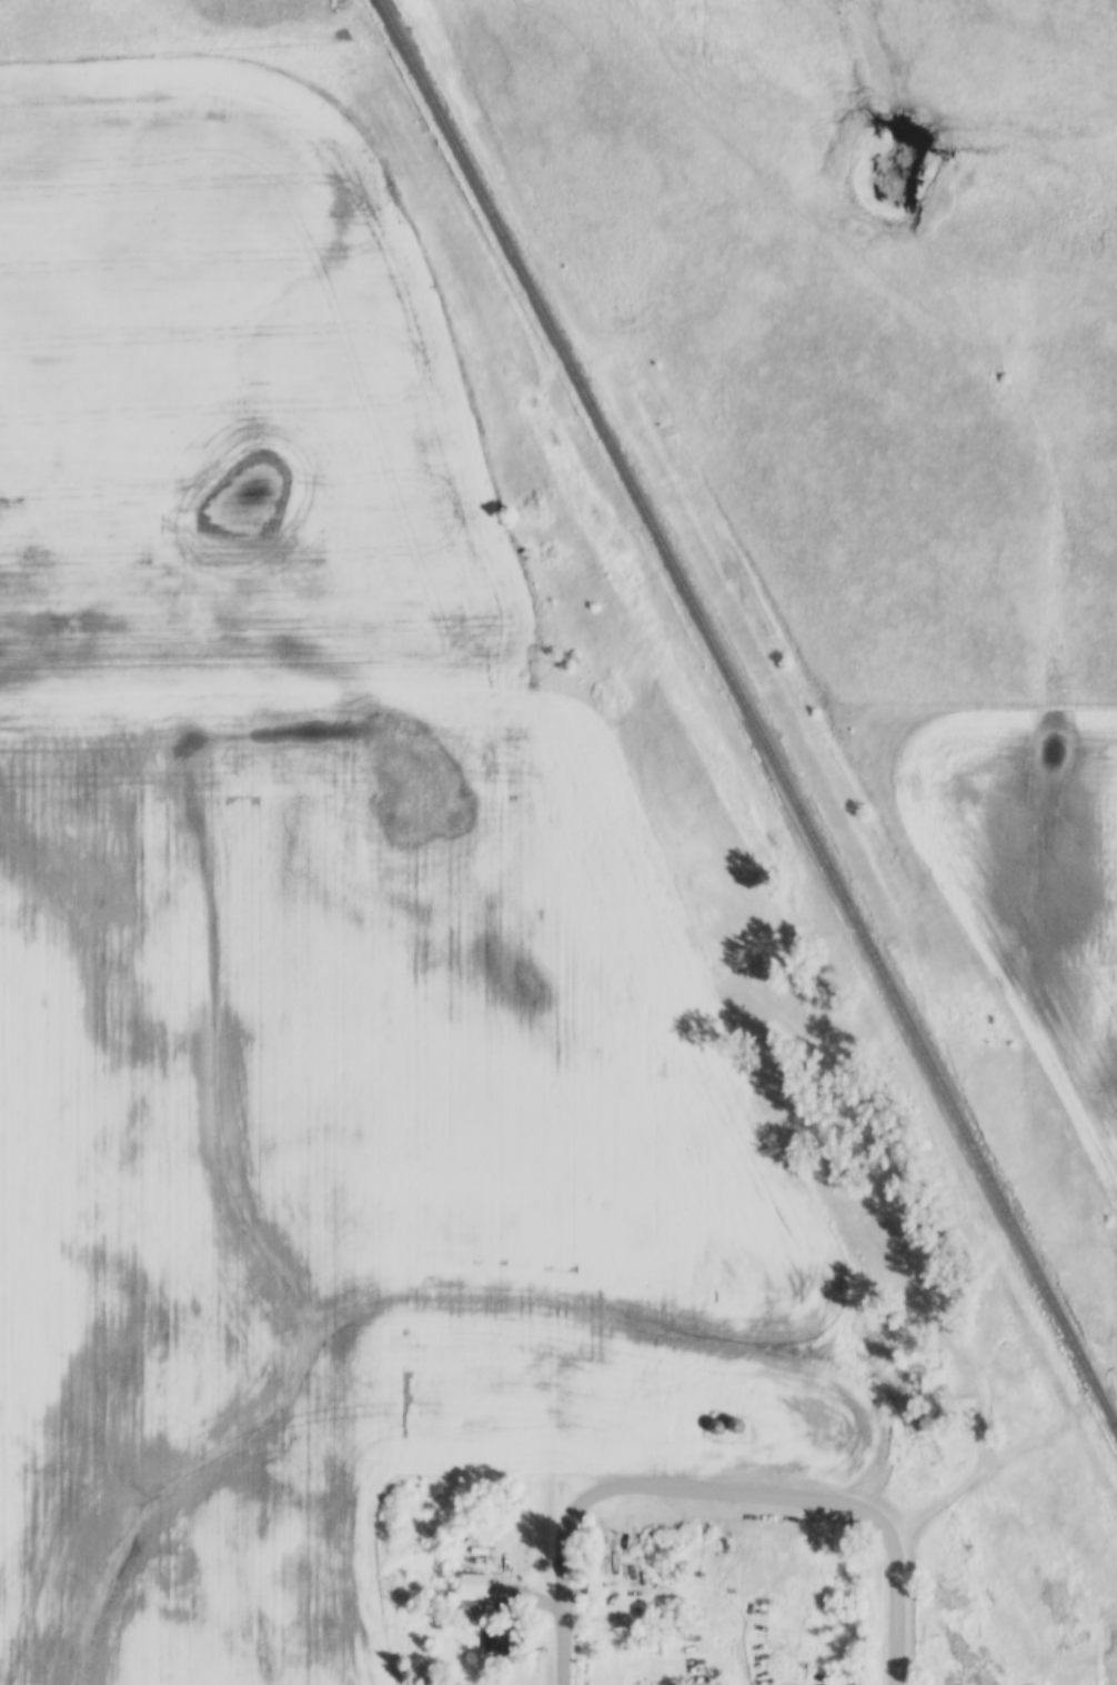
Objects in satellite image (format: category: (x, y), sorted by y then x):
railway: (746, 714)
railway: (924, 1120)
road: (718, 1492)
building: (476, 1585)
building: (497, 1638)

